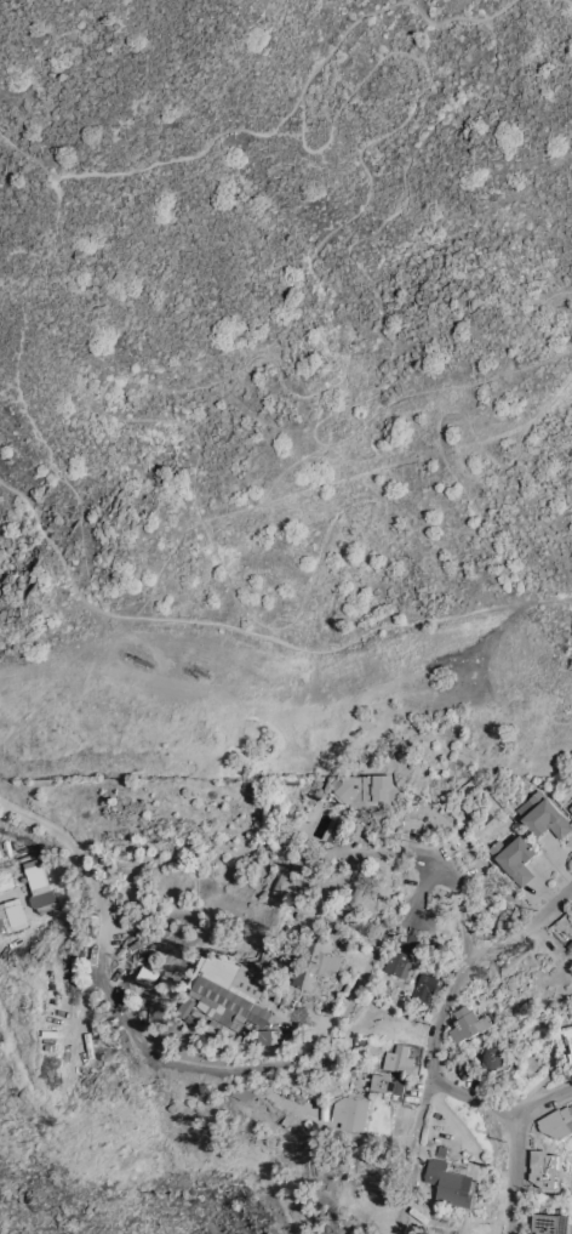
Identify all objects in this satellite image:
road: (570, 0)
road: (501, 8)
road: (309, 115)
road: (184, 153)
road: (18, 356)
road: (450, 527)
road: (208, 531)
road: (313, 567)
road: (549, 597)
road: (235, 627)
road: (456, 652)
road: (28, 665)
road: (33, 704)
road: (282, 705)
building: (401, 754)
building: (368, 789)
building: (315, 790)
building: (571, 807)
building: (543, 814)
road: (434, 851)
building: (514, 857)
building: (38, 887)
building: (11, 914)
building: (315, 960)
building: (402, 962)
road: (473, 965)
building: (145, 974)
building: (424, 986)
building: (230, 991)
building: (185, 1006)
building: (292, 1007)
building: (469, 1022)
building: (364, 1029)
building: (567, 1034)
building: (268, 1035)
building: (493, 1054)
building: (571, 1056)
building: (399, 1058)
road: (194, 1060)
building: (465, 1068)
building: (387, 1085)
road: (470, 1096)
road: (542, 1098)
road: (421, 1104)
building: (351, 1110)
building: (557, 1122)
building: (441, 1150)
building: (545, 1167)
road: (511, 1175)
building: (450, 1183)
building: (550, 1223)

